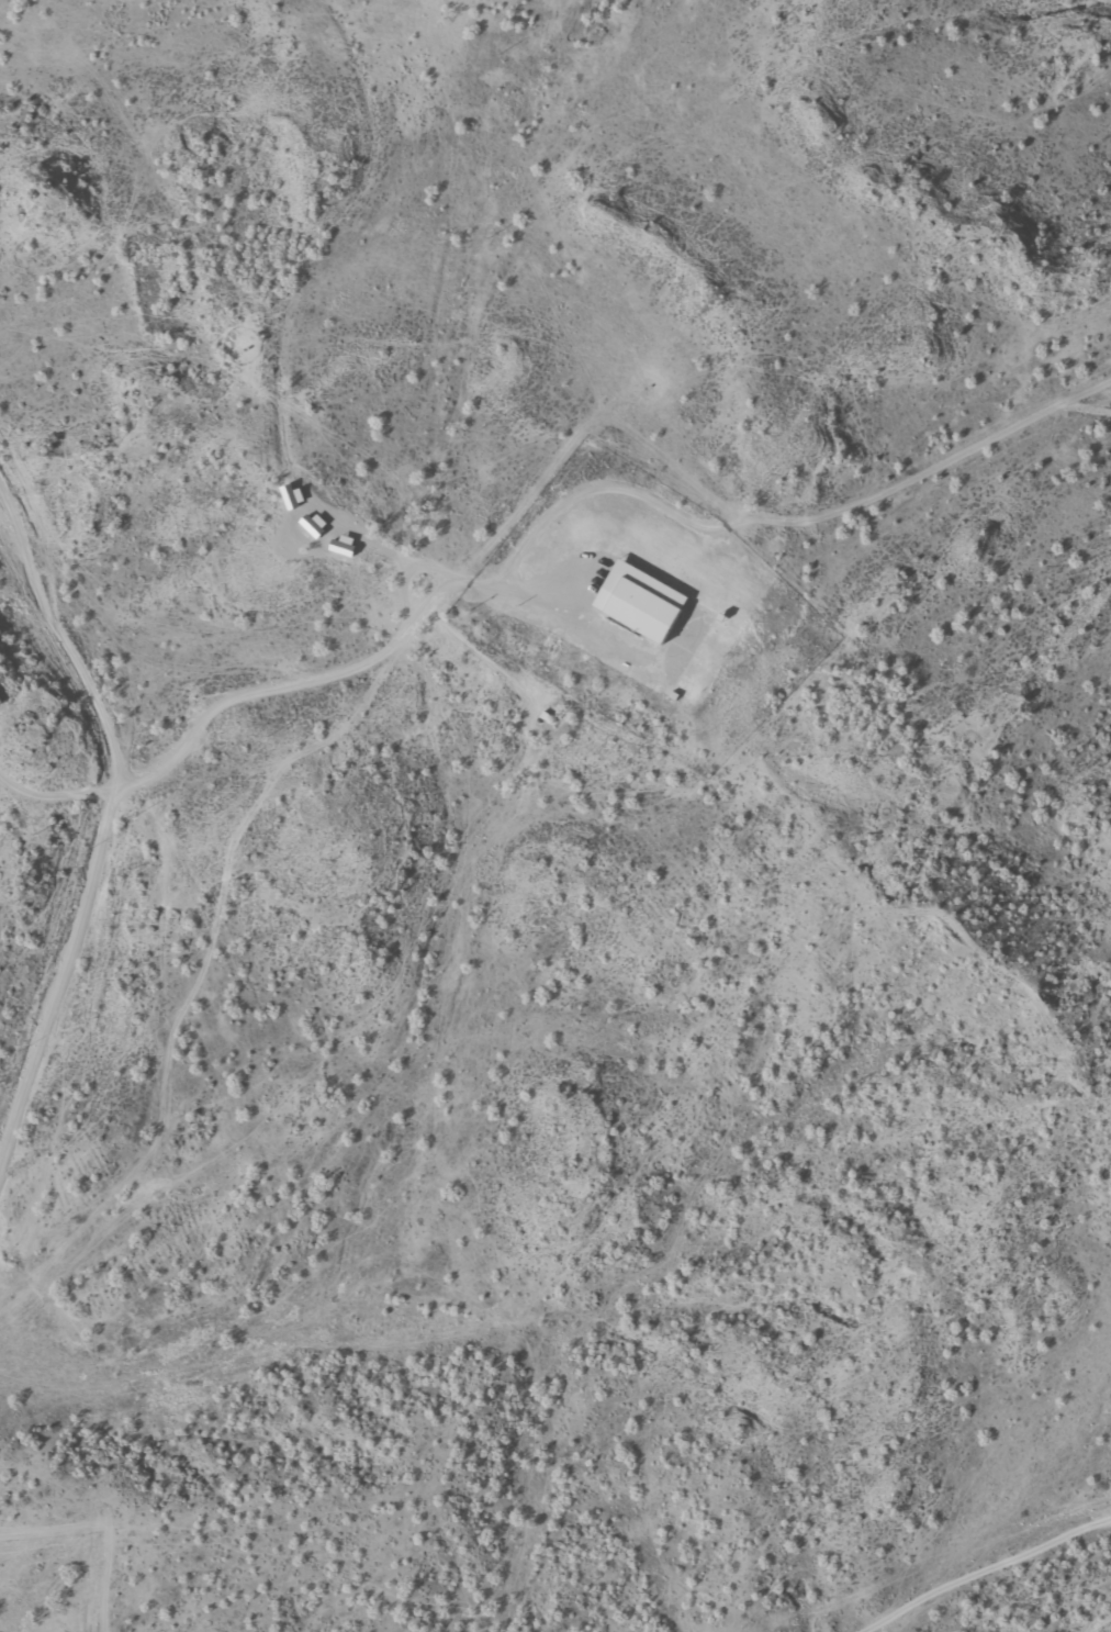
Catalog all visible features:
building: (647, 601)
road: (394, 624)
road: (49, 737)

